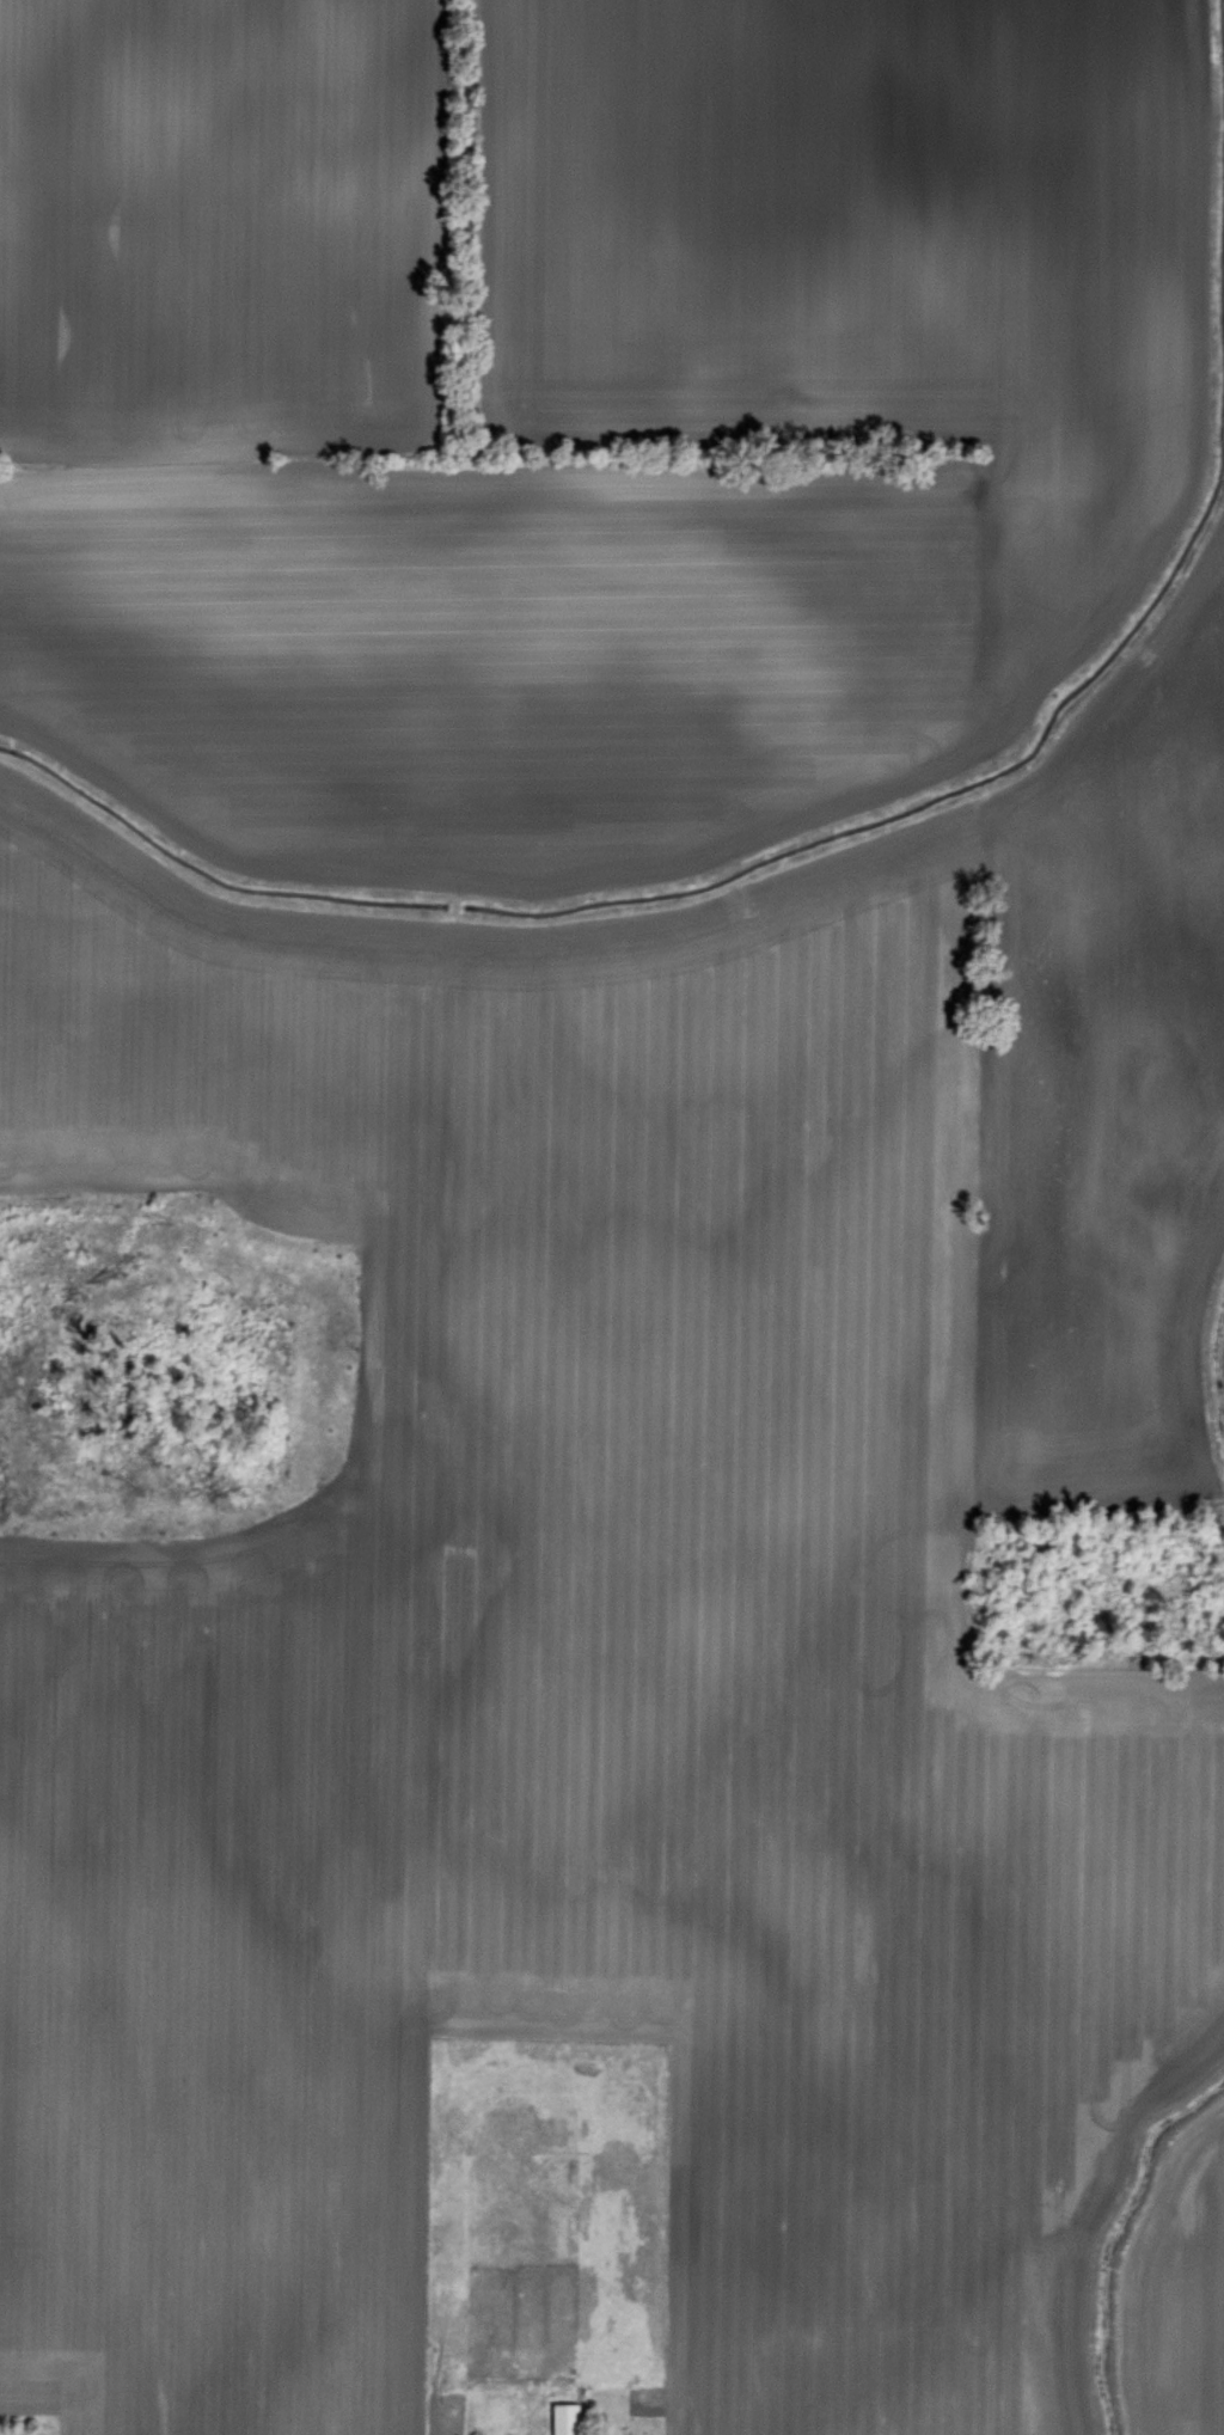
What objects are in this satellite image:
building: (559, 2418)

